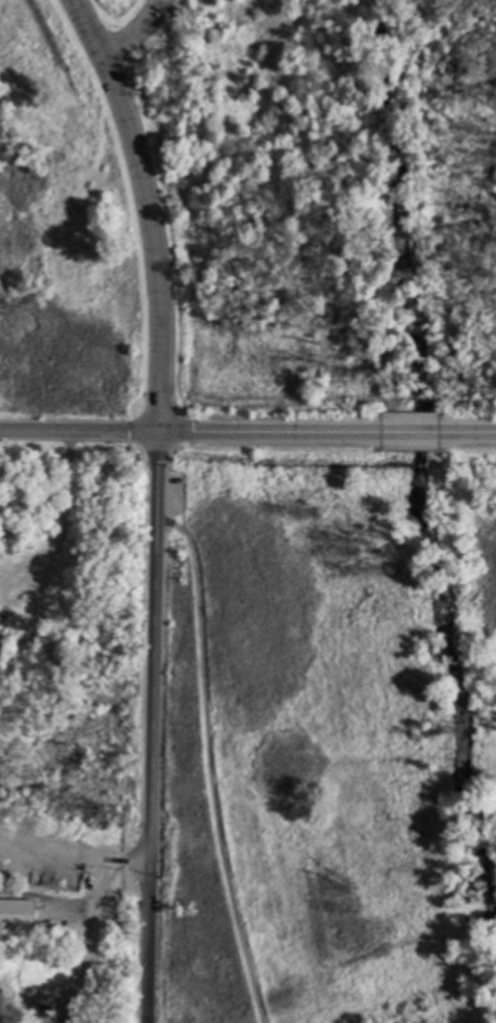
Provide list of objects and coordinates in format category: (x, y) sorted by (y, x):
road: (135, 32)
road: (115, 99)
park: (340, 201)
park: (74, 206)
road: (157, 362)
road: (184, 433)
road: (403, 435)
road: (466, 435)
river: (406, 509)
park: (69, 618)
park: (328, 736)
road: (207, 764)
road: (151, 772)
road: (57, 852)
road: (130, 863)
building: (84, 872)
road: (71, 911)
building: (16, 915)
road: (88, 944)

